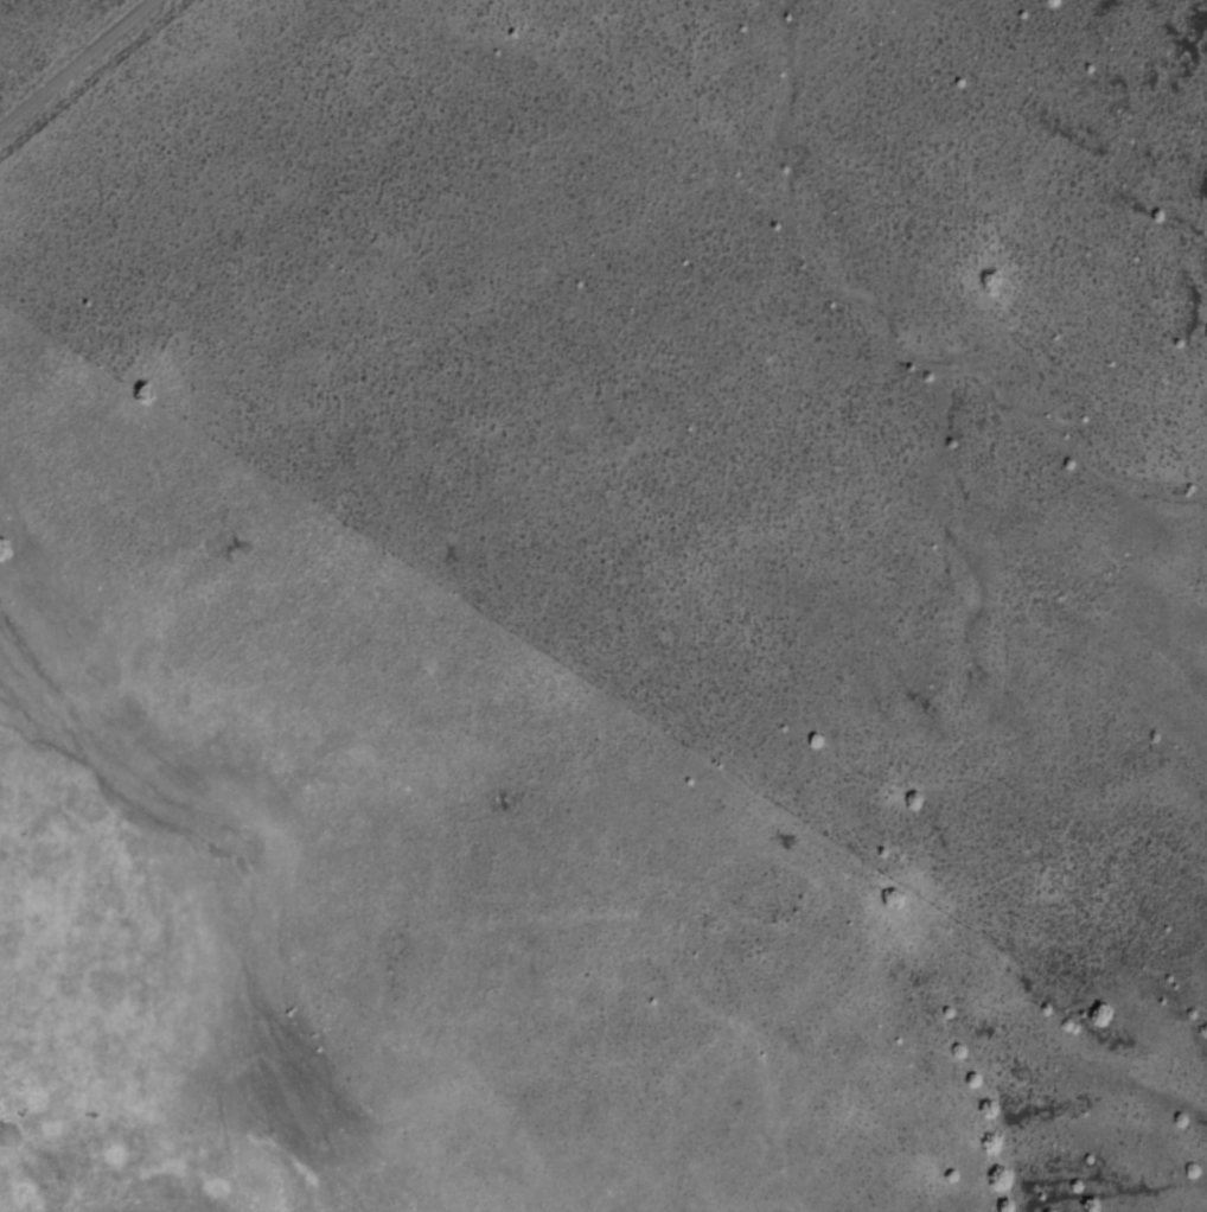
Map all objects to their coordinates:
road: (77, 64)

